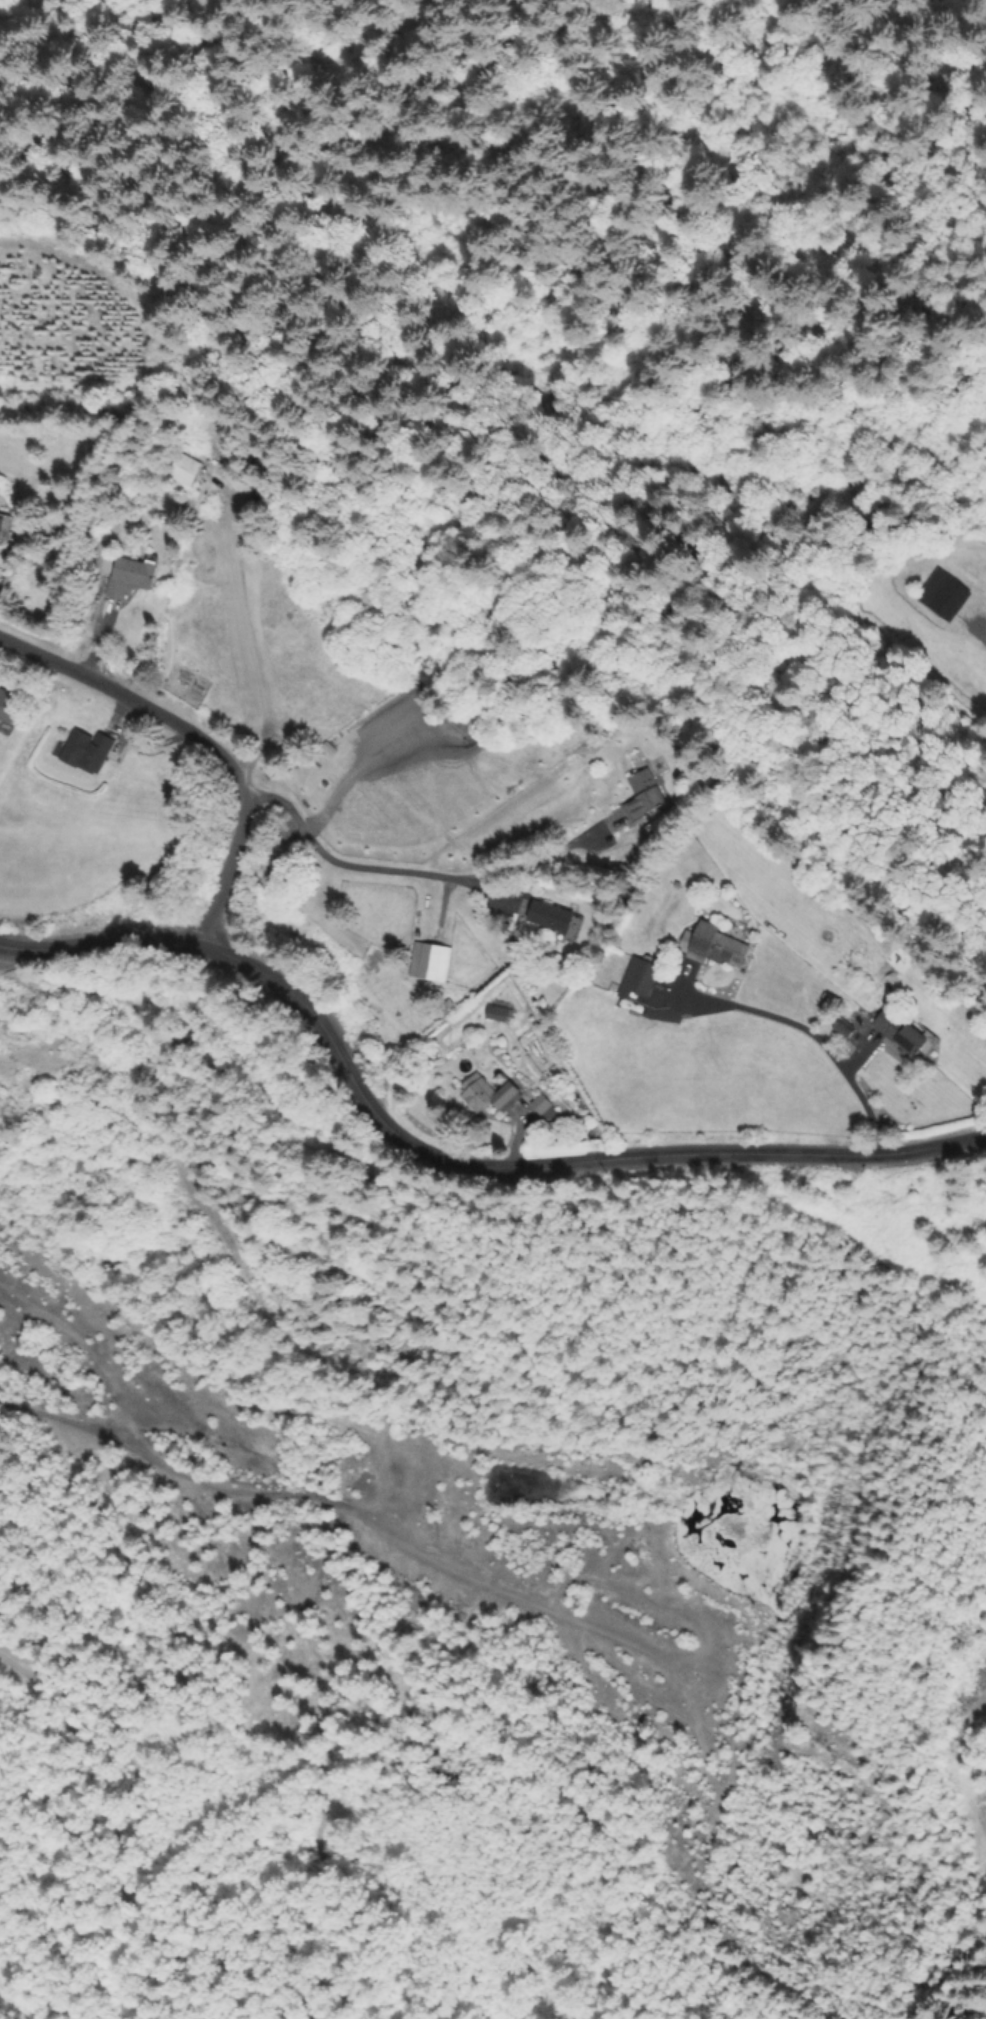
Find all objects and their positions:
building: (186, 469)
building: (5, 522)
building: (920, 553)
building: (132, 575)
building: (945, 595)
building: (9, 706)
road: (200, 736)
building: (88, 750)
building: (637, 758)
building: (644, 793)
road: (420, 873)
building: (552, 915)
building: (708, 944)
building: (432, 960)
building: (639, 975)
building: (834, 999)
building: (445, 1007)
building: (499, 1011)
building: (902, 1031)
road: (813, 1034)
building: (484, 1094)
building: (538, 1105)
road: (447, 1158)

